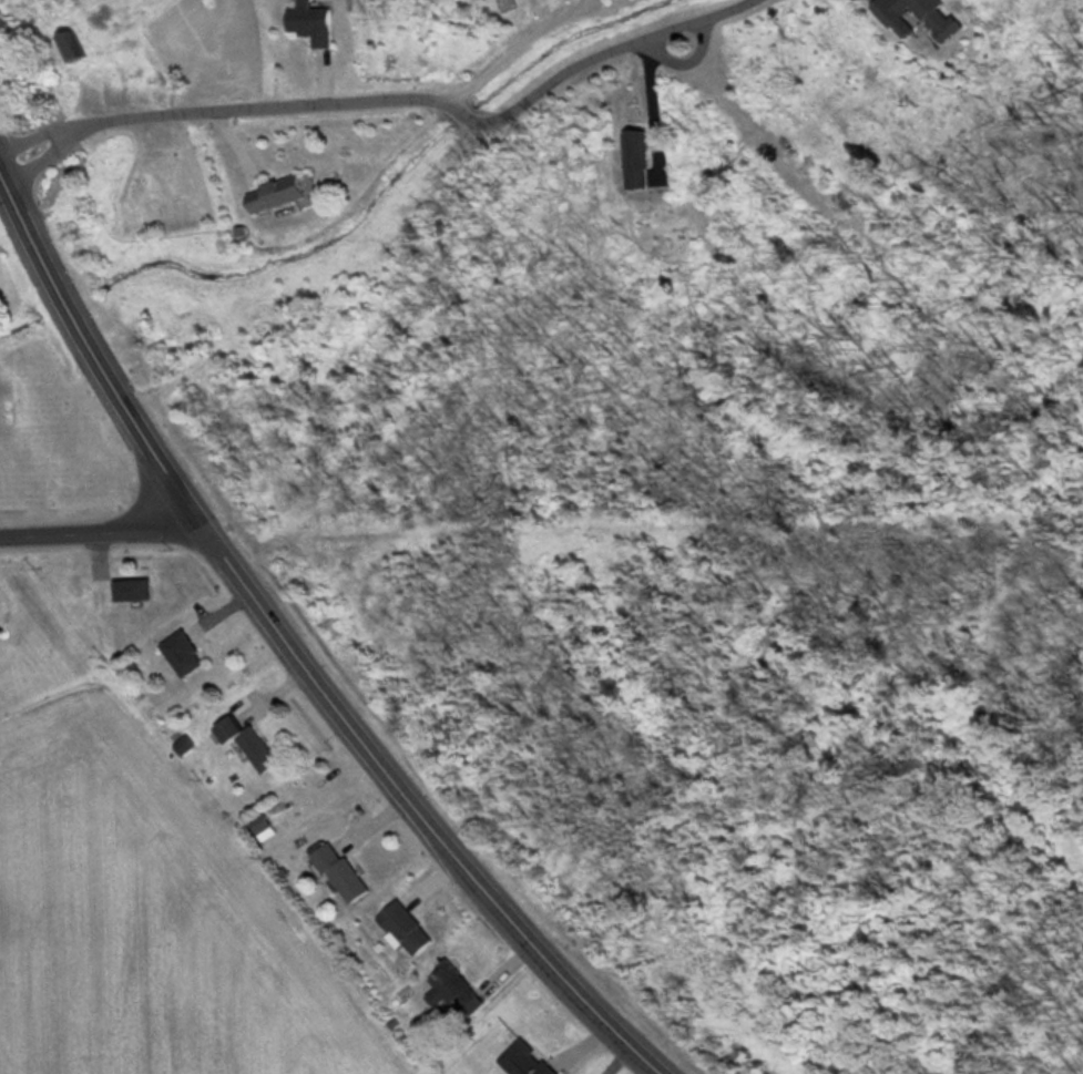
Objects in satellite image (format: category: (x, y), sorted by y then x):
building: (933, 14)
building: (319, 21)
building: (78, 45)
road: (389, 98)
building: (644, 154)
building: (286, 193)
road: (96, 346)
road: (102, 529)
building: (137, 589)
water tower: (6, 632)
building: (53, 632)
building: (192, 652)
building: (262, 743)
road: (422, 810)
building: (270, 822)
building: (349, 872)
building: (416, 927)
building: (467, 989)
building: (540, 1060)

